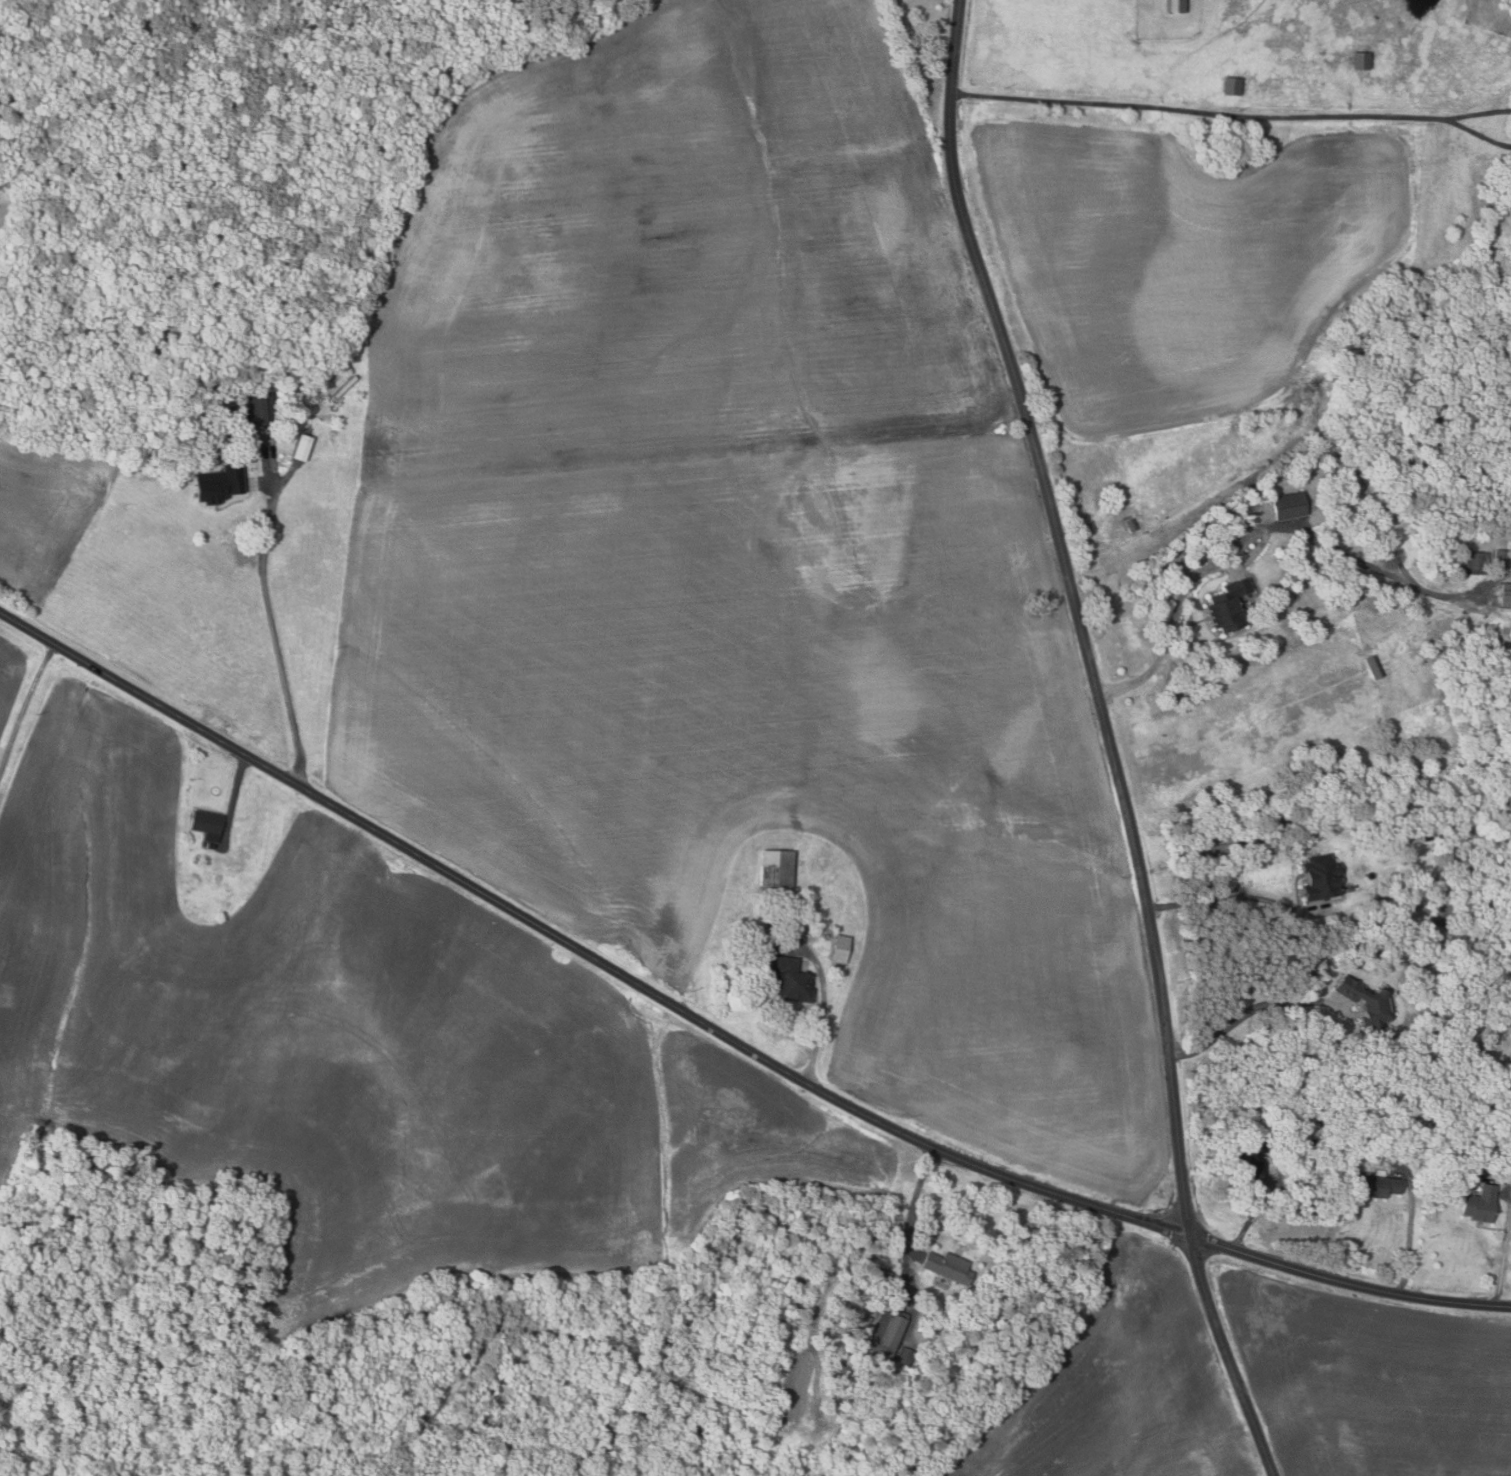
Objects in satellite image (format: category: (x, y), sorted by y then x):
building: (1177, 5)
building: (1363, 59)
building: (1235, 85)
road: (1201, 112)
road: (1481, 113)
road: (1480, 135)
crop: (4, 206)
building: (1510, 230)
crop: (679, 257)
crop: (1173, 258)
building: (260, 408)
building: (204, 428)
building: (304, 446)
building: (221, 483)
building: (1291, 505)
crop: (43, 515)
building: (1133, 525)
road: (1247, 533)
building: (1503, 557)
building: (1477, 560)
building: (1506, 595)
building: (1230, 604)
road: (276, 624)
building: (1376, 667)
road: (25, 712)
road: (1109, 737)
crop: (782, 755)
road: (234, 799)
building: (208, 824)
building: (1430, 836)
building: (205, 843)
building: (211, 845)
building: (778, 871)
building: (1323, 877)
road: (1234, 895)
building: (831, 901)
building: (842, 949)
building: (723, 958)
building: (792, 979)
road: (825, 1002)
building: (1369, 1002)
road: (1243, 1013)
road: (724, 1035)
building: (1323, 1120)
building: (1317, 1145)
building: (1490, 1149)
building: (1254, 1158)
building: (1507, 1168)
building: (1378, 1185)
building: (1482, 1204)
road: (1250, 1216)
road: (905, 1225)
road: (1410, 1238)
road: (1504, 1249)
building: (949, 1267)
building: (885, 1278)
building: (866, 1322)
building: (889, 1334)
building: (907, 1356)
crop: (1370, 1379)
crop: (1122, 1385)

